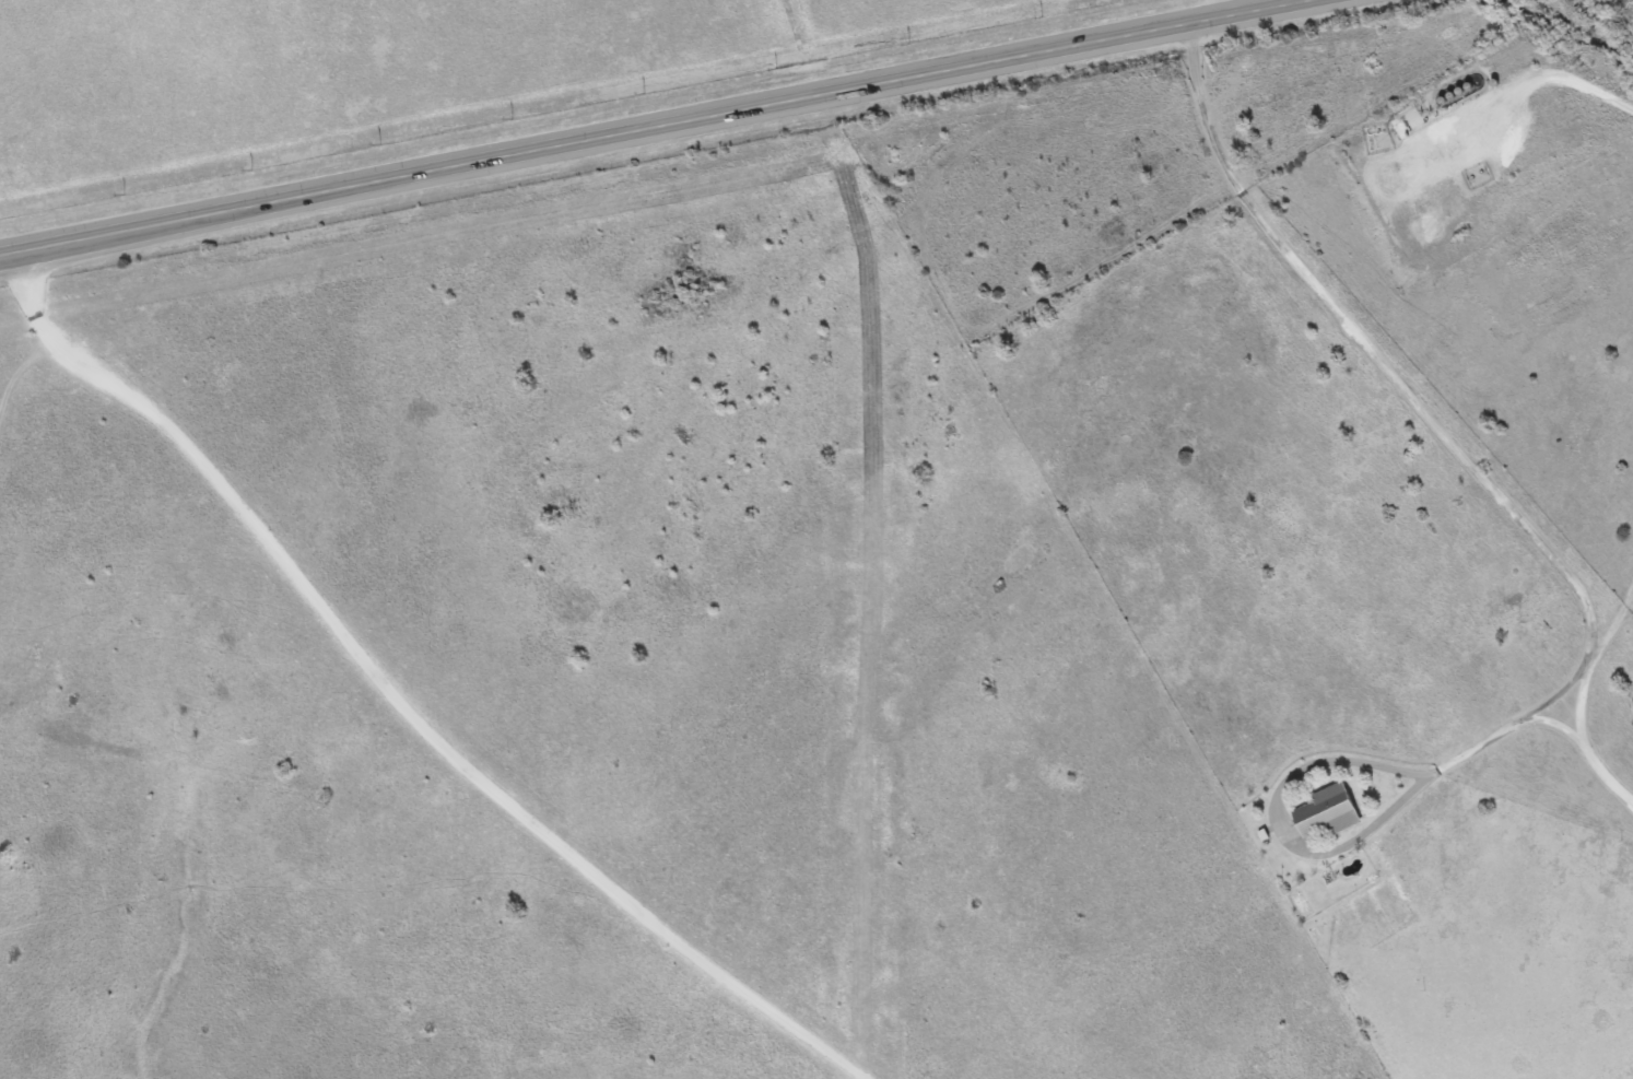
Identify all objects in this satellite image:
road: (658, 128)
road: (25, 367)
road: (1452, 435)
road: (1594, 655)
road: (402, 699)
building: (1321, 812)
road: (1317, 846)

